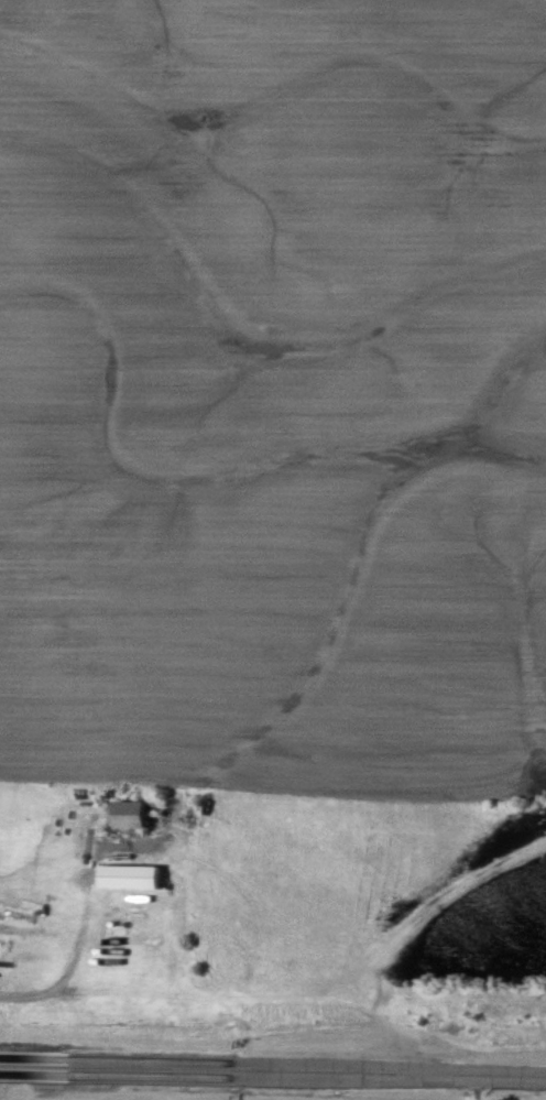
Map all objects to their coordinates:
building: (132, 815)
road: (84, 925)
track: (272, 1069)
road: (474, 1087)

